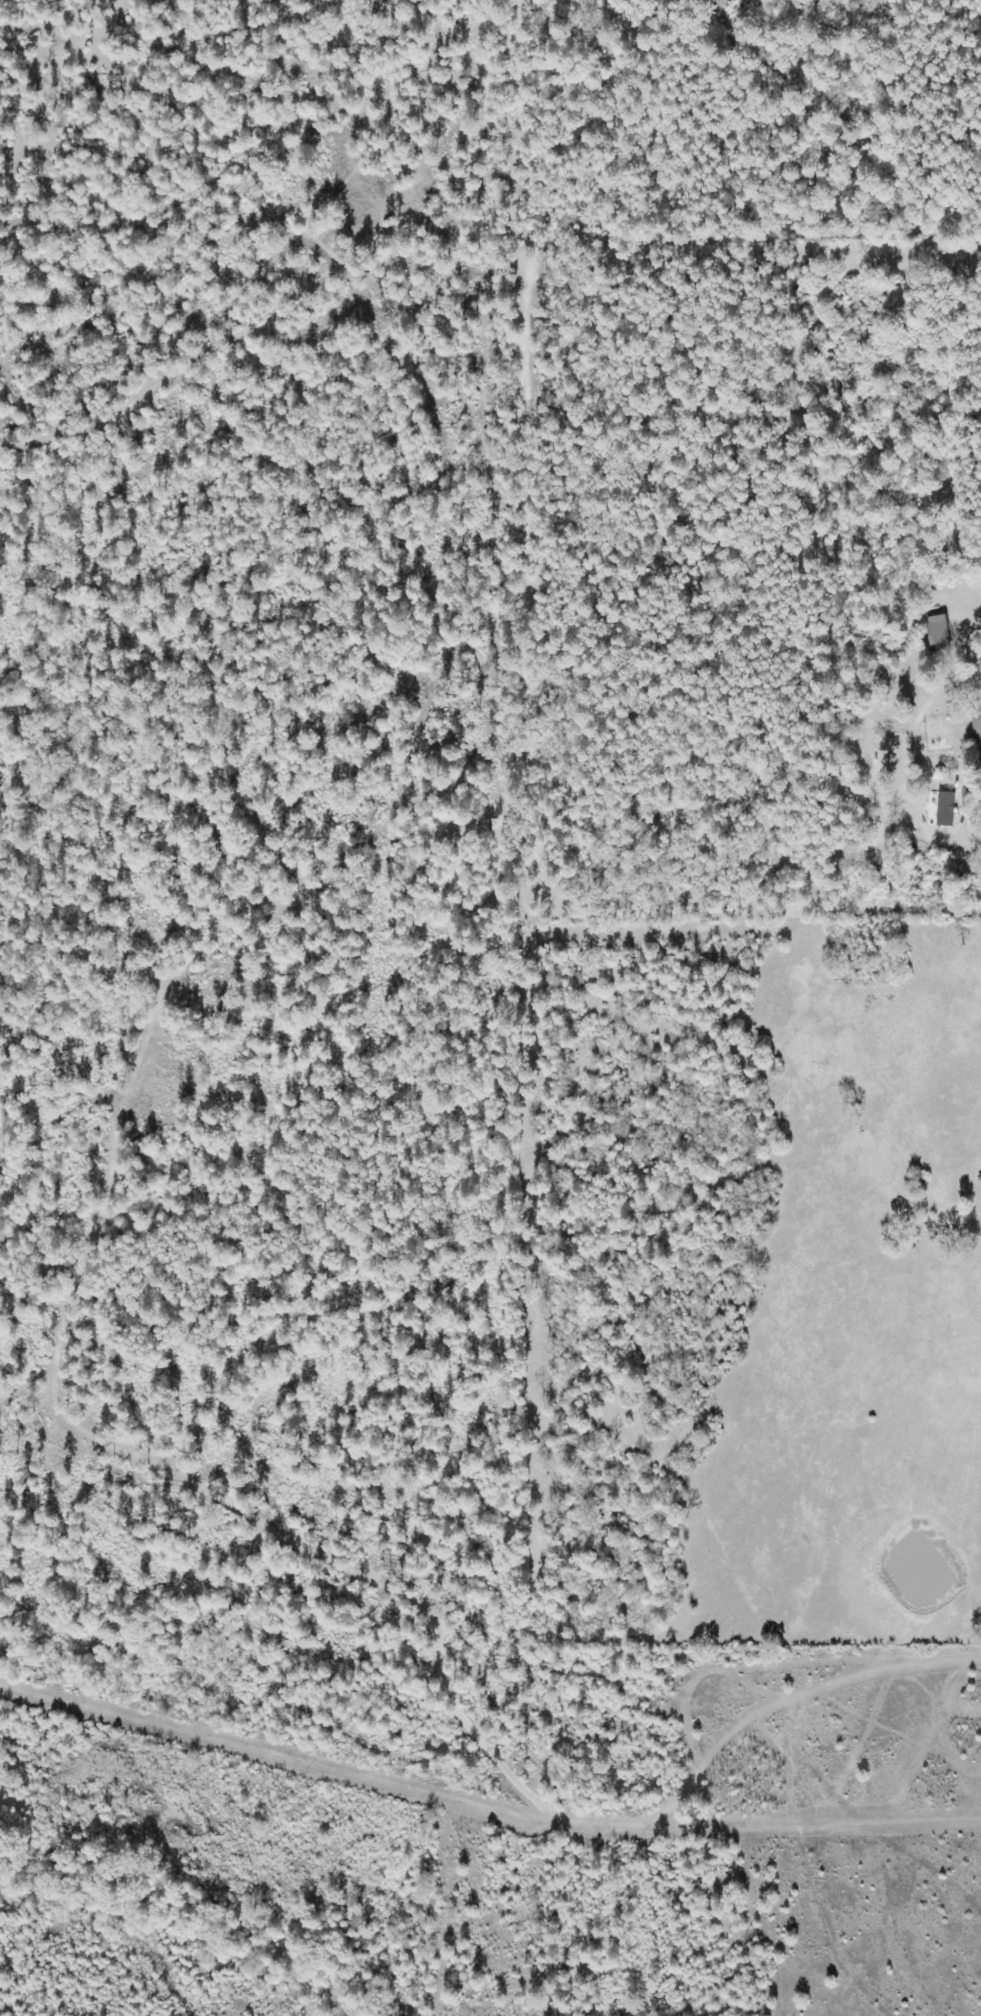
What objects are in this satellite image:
building: (937, 635)
building: (980, 669)
building: (977, 730)
building: (976, 1014)

